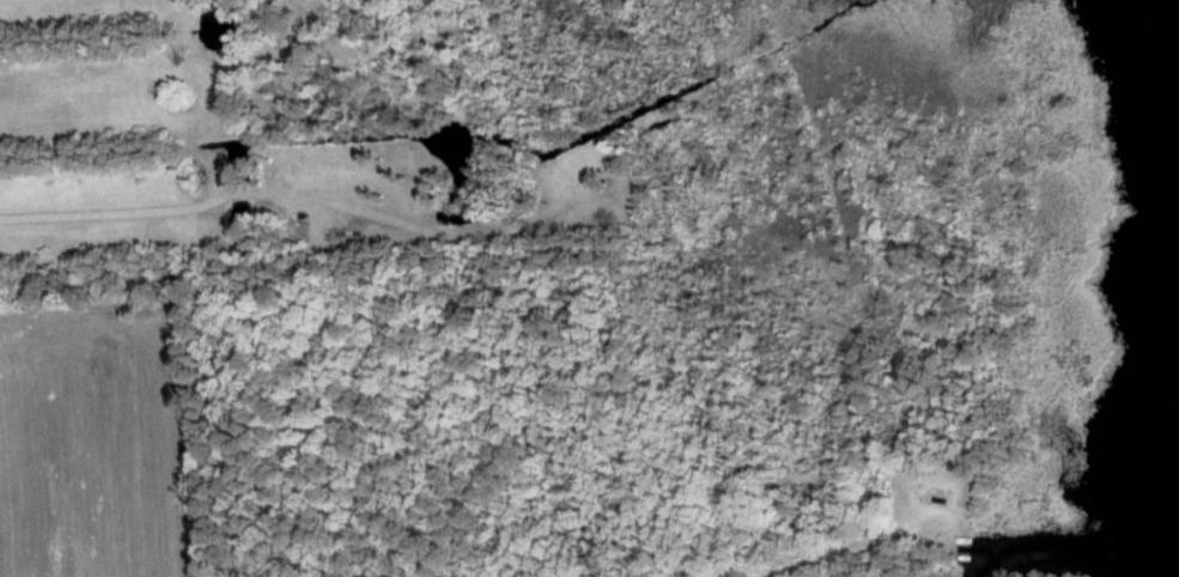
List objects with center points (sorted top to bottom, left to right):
road: (299, 194)
crop: (97, 442)
pier: (962, 545)
road: (845, 552)
pier: (962, 553)

